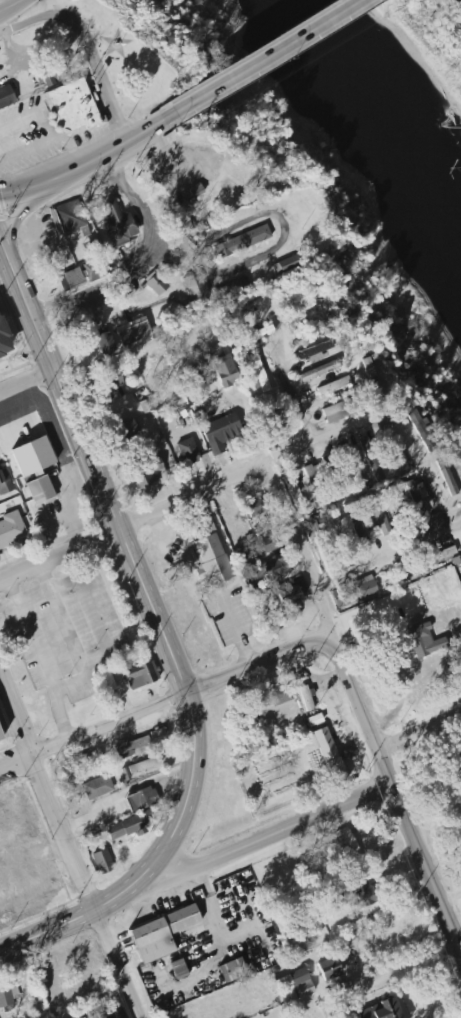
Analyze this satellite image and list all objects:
road: (2, 5)
road: (11, 6)
road: (23, 24)
road: (13, 57)
road: (259, 60)
road: (96, 68)
building: (50, 75)
building: (6, 95)
building: (72, 108)
road: (32, 113)
river: (364, 113)
parking lot: (26, 136)
road: (73, 146)
road: (26, 149)
road: (164, 158)
road: (84, 165)
building: (195, 188)
building: (67, 216)
road: (277, 217)
building: (118, 225)
building: (242, 241)
building: (89, 245)
road: (139, 263)
building: (286, 264)
building: (81, 273)
building: (155, 283)
building: (195, 287)
building: (233, 288)
building: (132, 330)
building: (263, 331)
building: (3, 336)
building: (106, 343)
building: (95, 348)
building: (313, 352)
building: (224, 368)
building: (319, 371)
building: (258, 372)
building: (372, 379)
building: (109, 382)
road: (26, 384)
building: (333, 386)
road: (294, 404)
building: (147, 405)
building: (337, 411)
road: (384, 416)
building: (126, 429)
building: (422, 430)
building: (220, 431)
building: (187, 450)
building: (371, 460)
building: (399, 461)
building: (353, 468)
building: (147, 473)
building: (446, 477)
building: (5, 482)
building: (291, 487)
building: (40, 491)
building: (416, 496)
building: (253, 507)
road: (131, 524)
building: (11, 529)
building: (309, 531)
building: (359, 531)
building: (265, 544)
building: (207, 550)
road: (387, 555)
road: (300, 556)
building: (438, 556)
road: (127, 560)
building: (267, 570)
building: (446, 581)
building: (460, 583)
building: (354, 592)
building: (288, 595)
road: (96, 614)
building: (290, 615)
road: (64, 619)
road: (236, 631)
building: (422, 634)
road: (41, 659)
road: (253, 664)
building: (140, 674)
building: (105, 681)
road: (70, 684)
building: (277, 695)
building: (306, 698)
road: (417, 732)
road: (91, 734)
building: (0, 741)
building: (131, 748)
building: (329, 755)
building: (78, 762)
building: (144, 765)
building: (141, 799)
road: (394, 800)
building: (12, 815)
building: (129, 825)
road: (267, 836)
building: (346, 842)
road: (68, 852)
building: (102, 861)
building: (46, 880)
building: (362, 893)
road: (450, 897)
road: (75, 918)
road: (219, 934)
building: (161, 935)
road: (407, 963)
building: (327, 967)
building: (231, 970)
building: (293, 984)
building: (8, 996)
building: (381, 1009)
building: (118, 1011)
building: (95, 1014)

